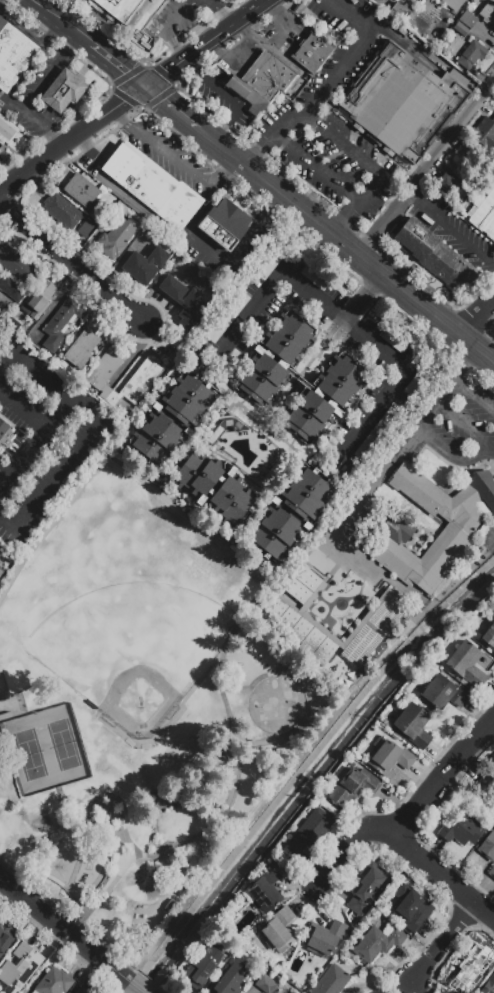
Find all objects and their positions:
building: (381, 0)
building: (419, 2)
building: (452, 4)
building: (118, 8)
building: (299, 9)
road: (220, 14)
building: (487, 14)
building: (401, 15)
road: (64, 19)
building: (467, 19)
building: (140, 22)
road: (289, 25)
road: (22, 27)
road: (164, 27)
building: (461, 29)
road: (54, 32)
road: (209, 43)
road: (404, 45)
road: (242, 49)
building: (312, 52)
road: (277, 55)
building: (13, 57)
building: (472, 58)
road: (119, 62)
road: (345, 68)
road: (49, 70)
road: (203, 74)
building: (268, 77)
traffic signals: (148, 86)
building: (62, 92)
building: (247, 96)
building: (402, 102)
road: (114, 108)
building: (0, 110)
road: (179, 110)
road: (232, 112)
road: (119, 113)
parking lot: (336, 118)
road: (32, 121)
building: (6, 131)
building: (484, 137)
building: (178, 139)
road: (263, 145)
road: (344, 146)
road: (170, 152)
parking lot: (172, 155)
road: (41, 163)
road: (316, 167)
road: (426, 167)
road: (225, 171)
building: (152, 187)
building: (449, 187)
road: (114, 189)
road: (59, 190)
building: (81, 190)
road: (356, 205)
building: (61, 210)
building: (98, 213)
building: (483, 213)
building: (224, 225)
road: (254, 227)
building: (85, 228)
road: (188, 229)
road: (450, 229)
building: (117, 233)
road: (351, 251)
building: (434, 256)
building: (14, 262)
building: (147, 263)
road: (75, 264)
building: (267, 266)
building: (189, 273)
building: (313, 277)
building: (12, 289)
road: (362, 298)
building: (39, 299)
building: (185, 302)
building: (237, 306)
road: (254, 311)
road: (475, 316)
building: (17, 323)
building: (61, 324)
building: (218, 329)
building: (394, 341)
building: (84, 343)
road: (383, 353)
building: (202, 354)
building: (275, 358)
road: (9, 364)
road: (33, 364)
building: (146, 376)
building: (414, 384)
road: (473, 395)
building: (325, 398)
road: (286, 400)
road: (85, 404)
road: (230, 404)
road: (432, 405)
road: (21, 406)
road: (240, 406)
building: (171, 420)
road: (465, 424)
parking lot: (458, 427)
building: (226, 429)
building: (4, 434)
building: (375, 436)
road: (21, 451)
road: (451, 452)
road: (119, 467)
road: (235, 468)
road: (59, 471)
building: (349, 476)
building: (212, 487)
building: (290, 513)
road: (8, 518)
road: (340, 524)
building: (394, 527)
road: (19, 541)
road: (493, 549)
building: (0, 573)
building: (305, 588)
building: (388, 614)
building: (298, 632)
building: (488, 639)
road: (229, 641)
building: (361, 647)
building: (379, 651)
building: (467, 664)
park: (139, 668)
building: (442, 694)
park: (10, 703)
park: (138, 706)
park: (276, 706)
road: (26, 712)
building: (413, 726)
road: (121, 734)
park: (46, 750)
building: (389, 757)
road: (18, 777)
building: (487, 784)
building: (353, 788)
road: (107, 801)
road: (409, 815)
building: (462, 826)
building: (308, 833)
building: (487, 847)
building: (491, 872)
road: (442, 875)
building: (367, 890)
building: (265, 891)
road: (41, 893)
building: (169, 906)
building: (411, 911)
road: (63, 929)
building: (279, 931)
building: (5, 937)
building: (323, 938)
road: (444, 942)
building: (376, 944)
building: (472, 967)
building: (20, 968)
building: (203, 968)
building: (230, 979)
building: (331, 981)
building: (53, 982)
building: (265, 984)
building: (489, 985)
road: (135, 986)
building: (82, 990)

